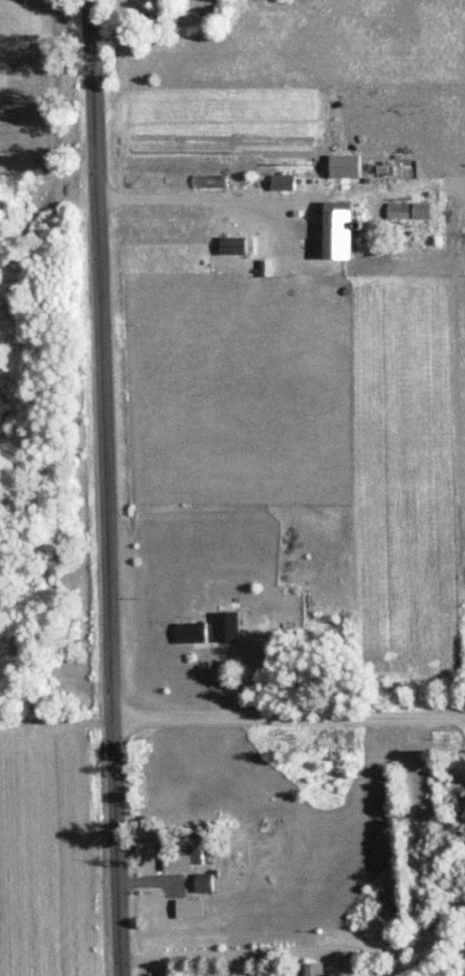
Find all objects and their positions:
building: (158, 2)
building: (407, 210)
building: (336, 229)
building: (236, 245)
road: (110, 487)
building: (226, 627)
building: (189, 633)
road: (291, 712)
building: (188, 855)
building: (202, 882)
building: (188, 908)
building: (311, 969)

